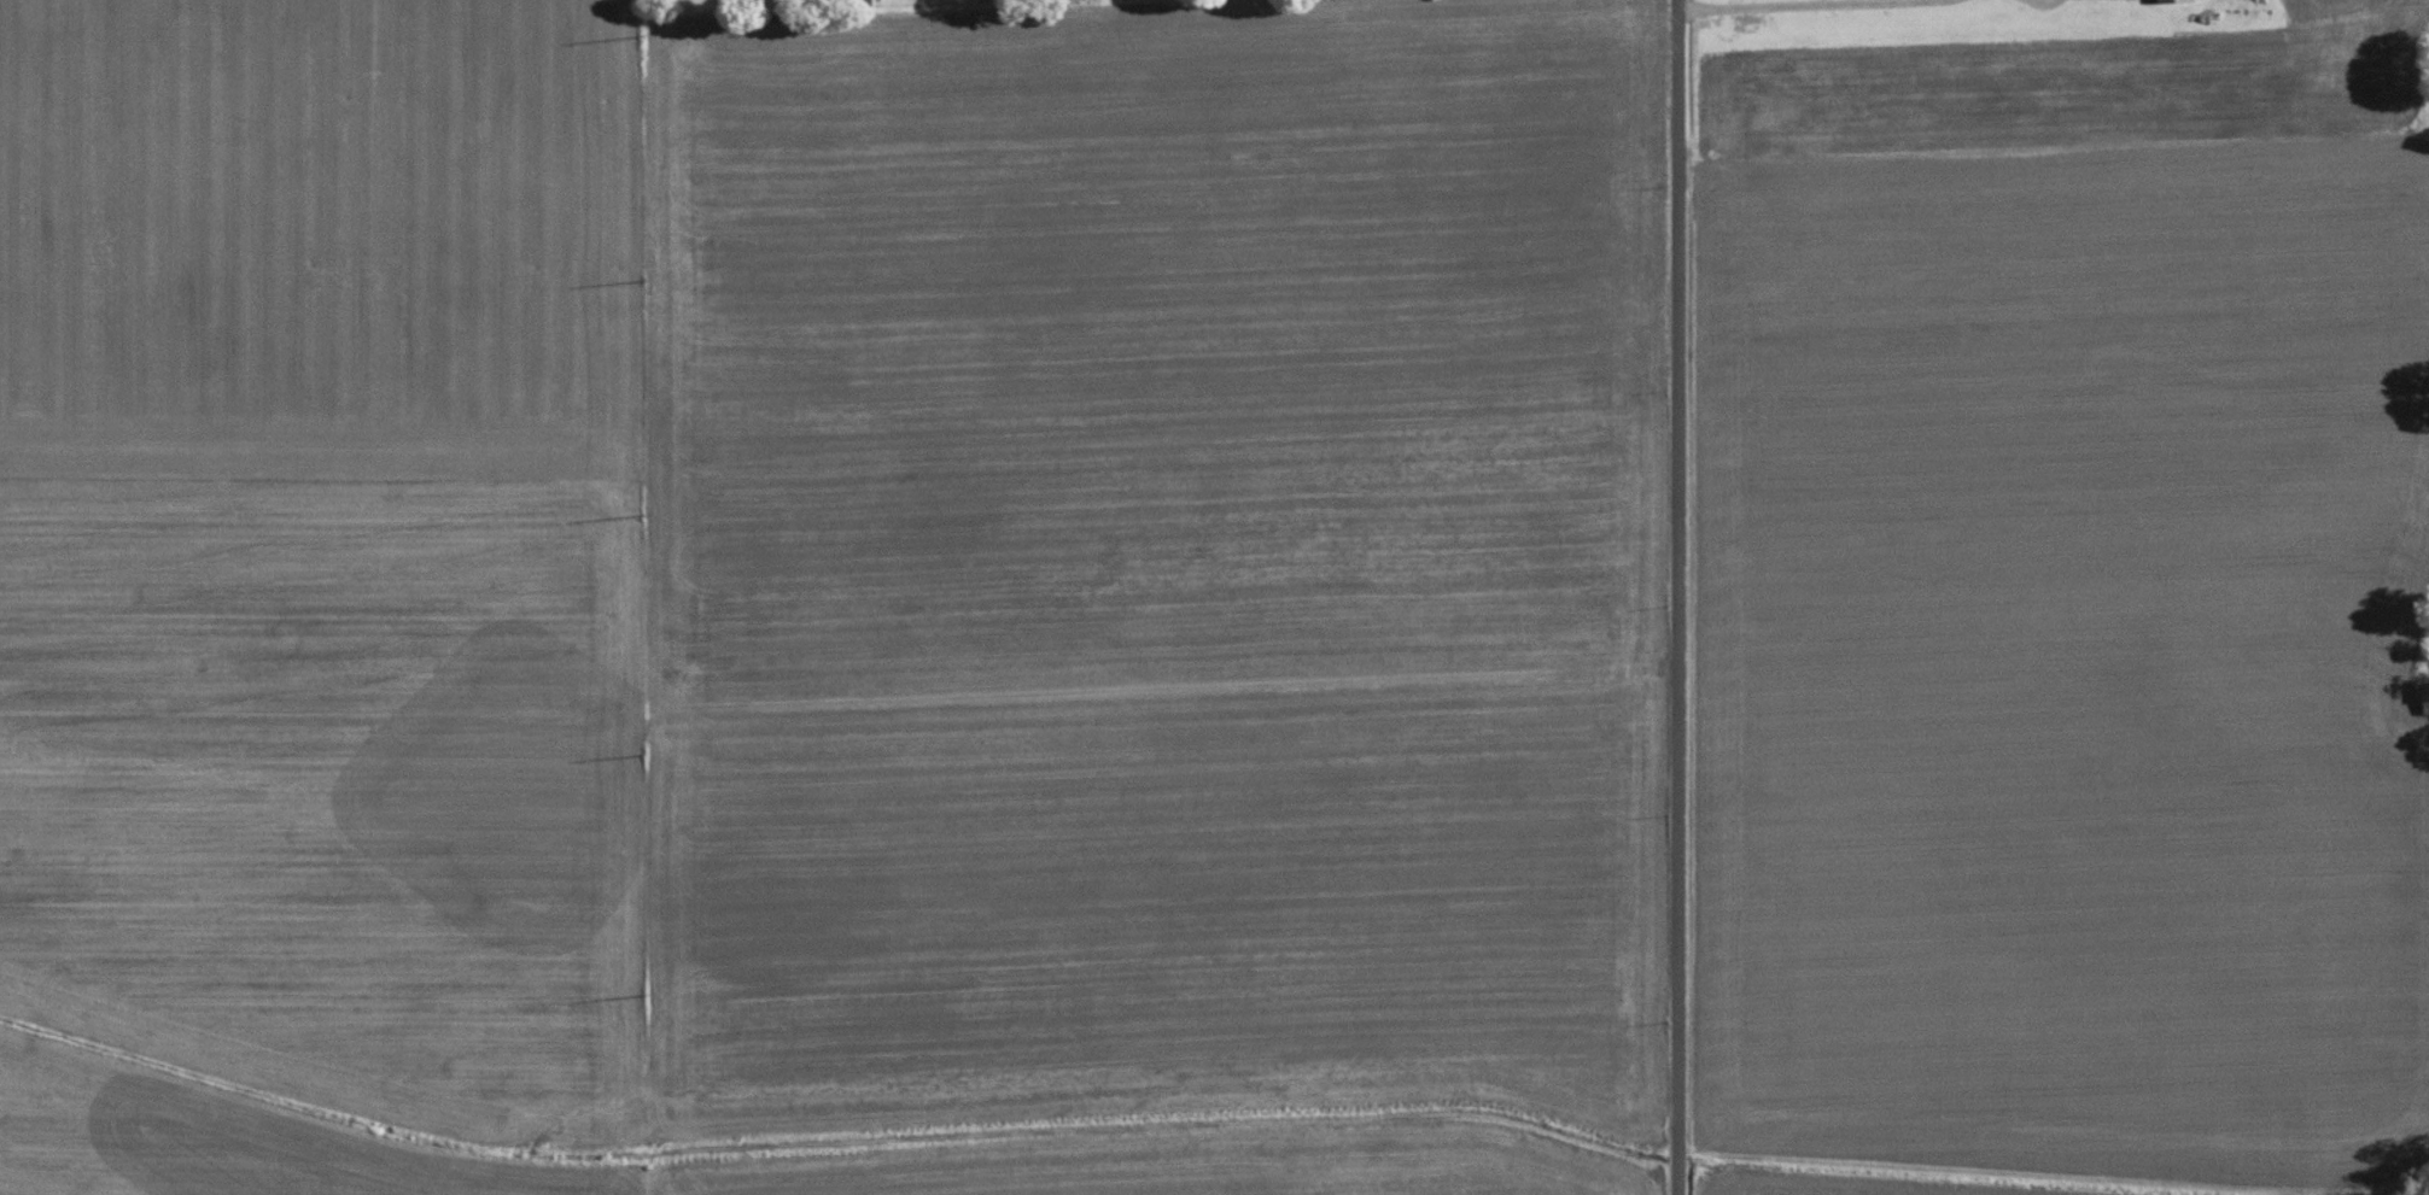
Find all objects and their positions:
road: (1811, 4)
road: (1677, 597)
building: (2427, 696)

